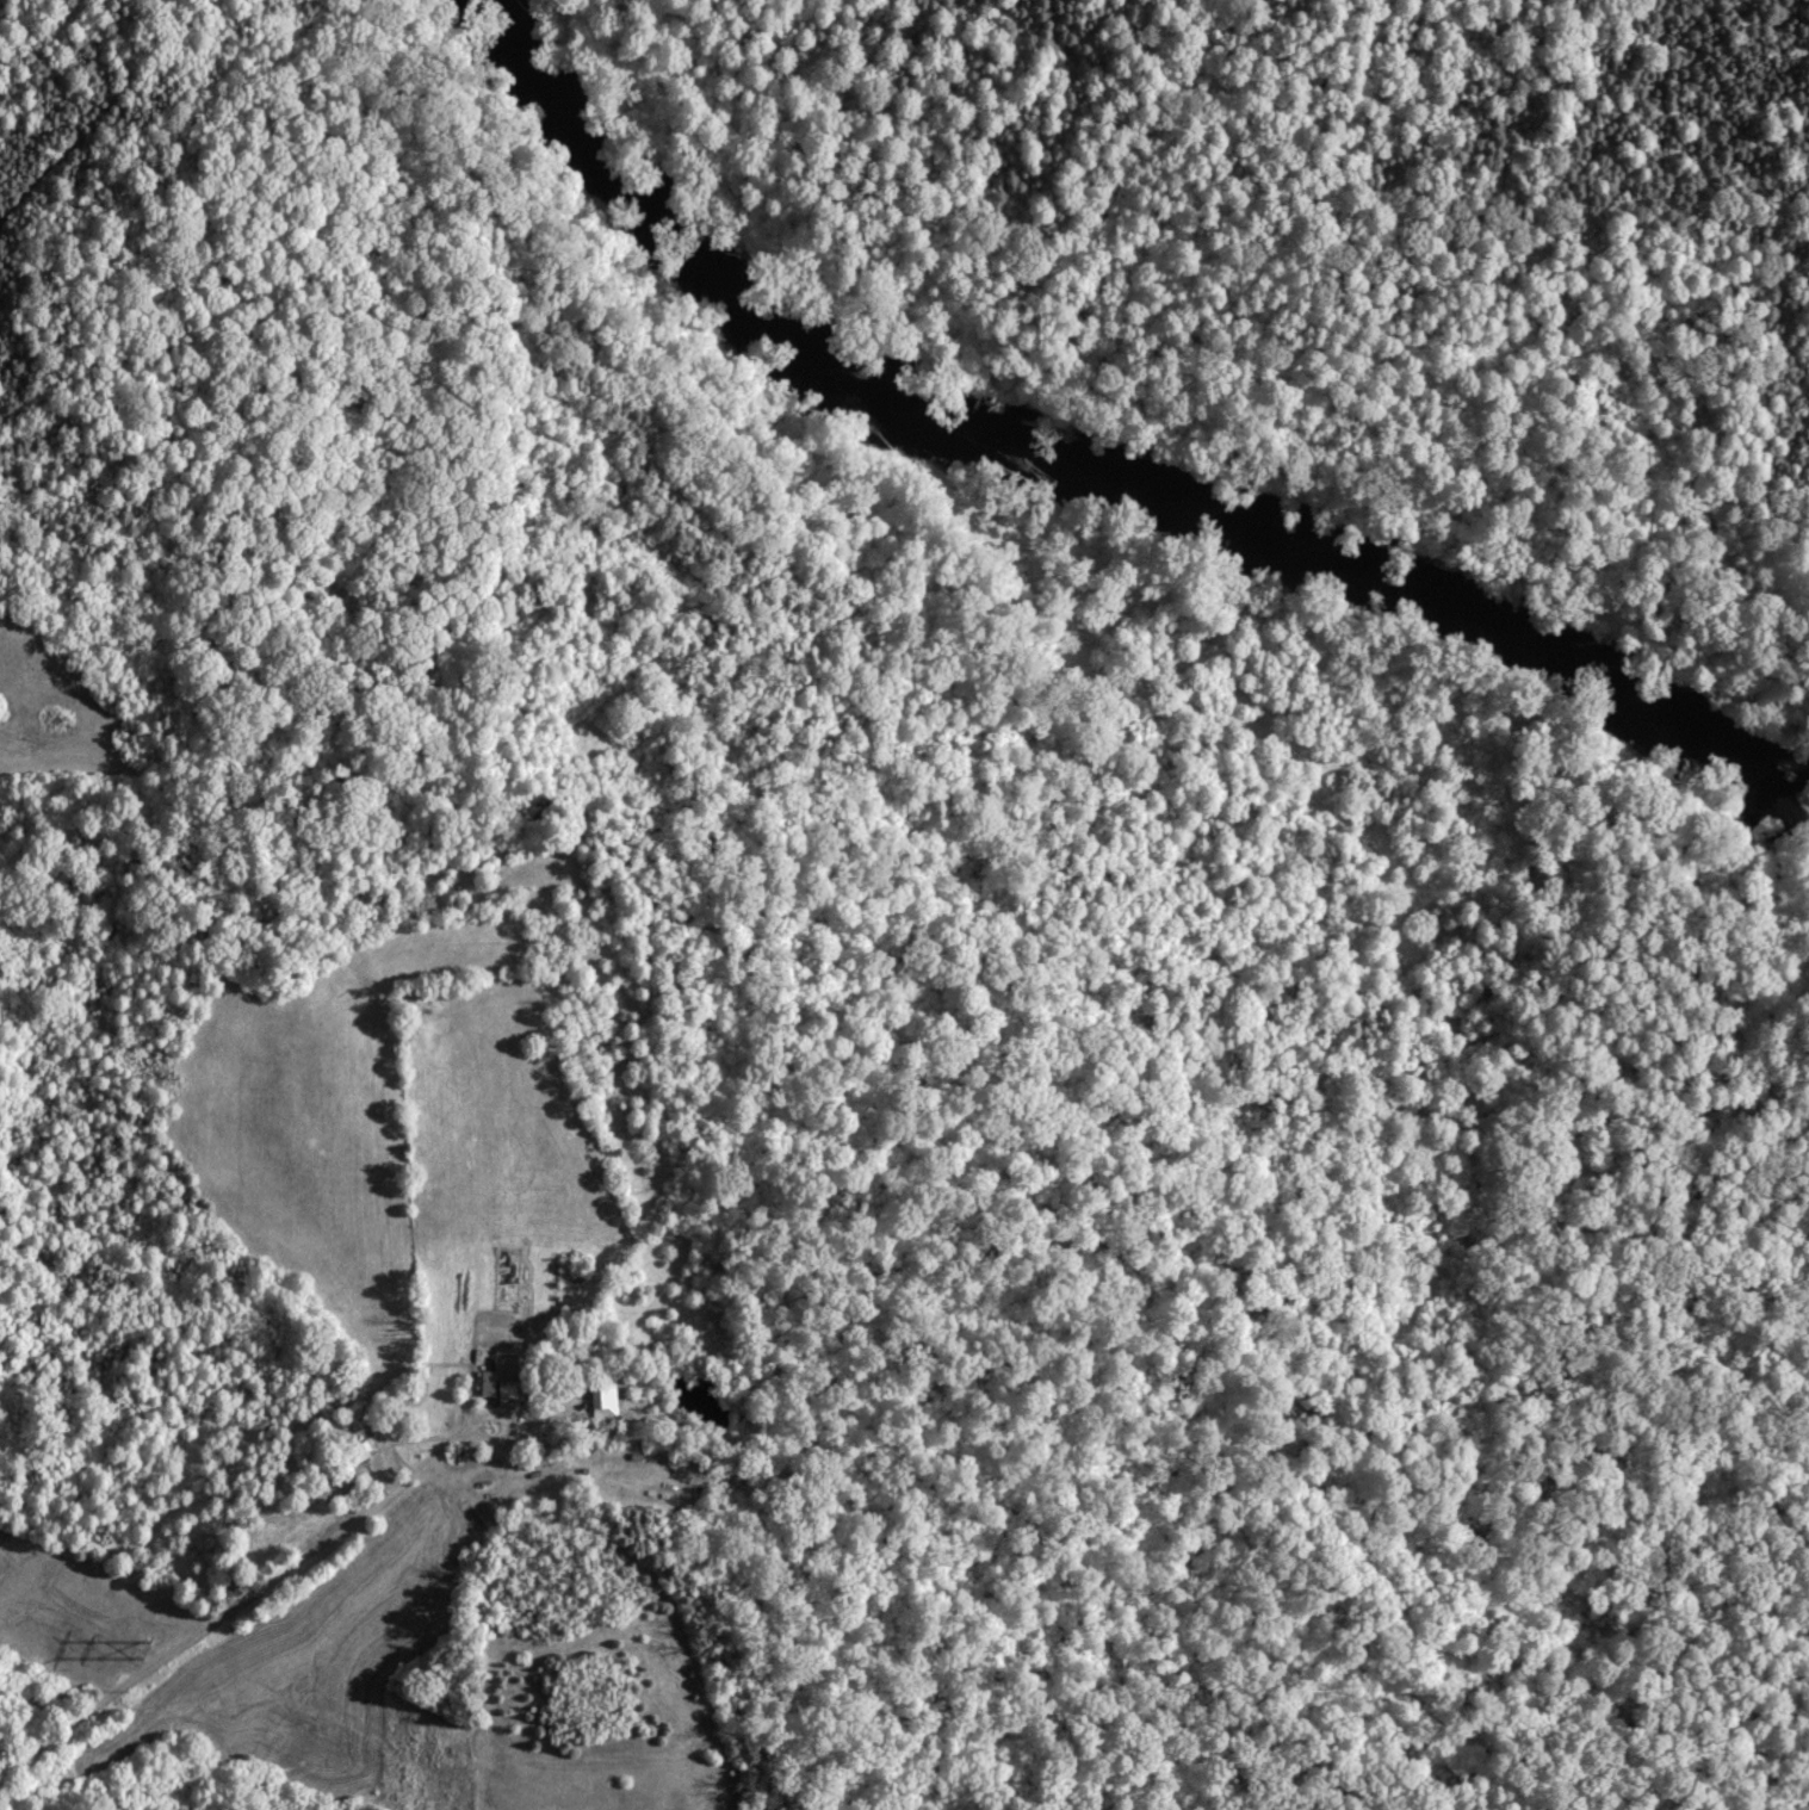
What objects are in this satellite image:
river: (1086, 459)
building: (31, 689)
building: (498, 1382)
building: (601, 1396)
road: (238, 1605)
power tower: (142, 1651)

